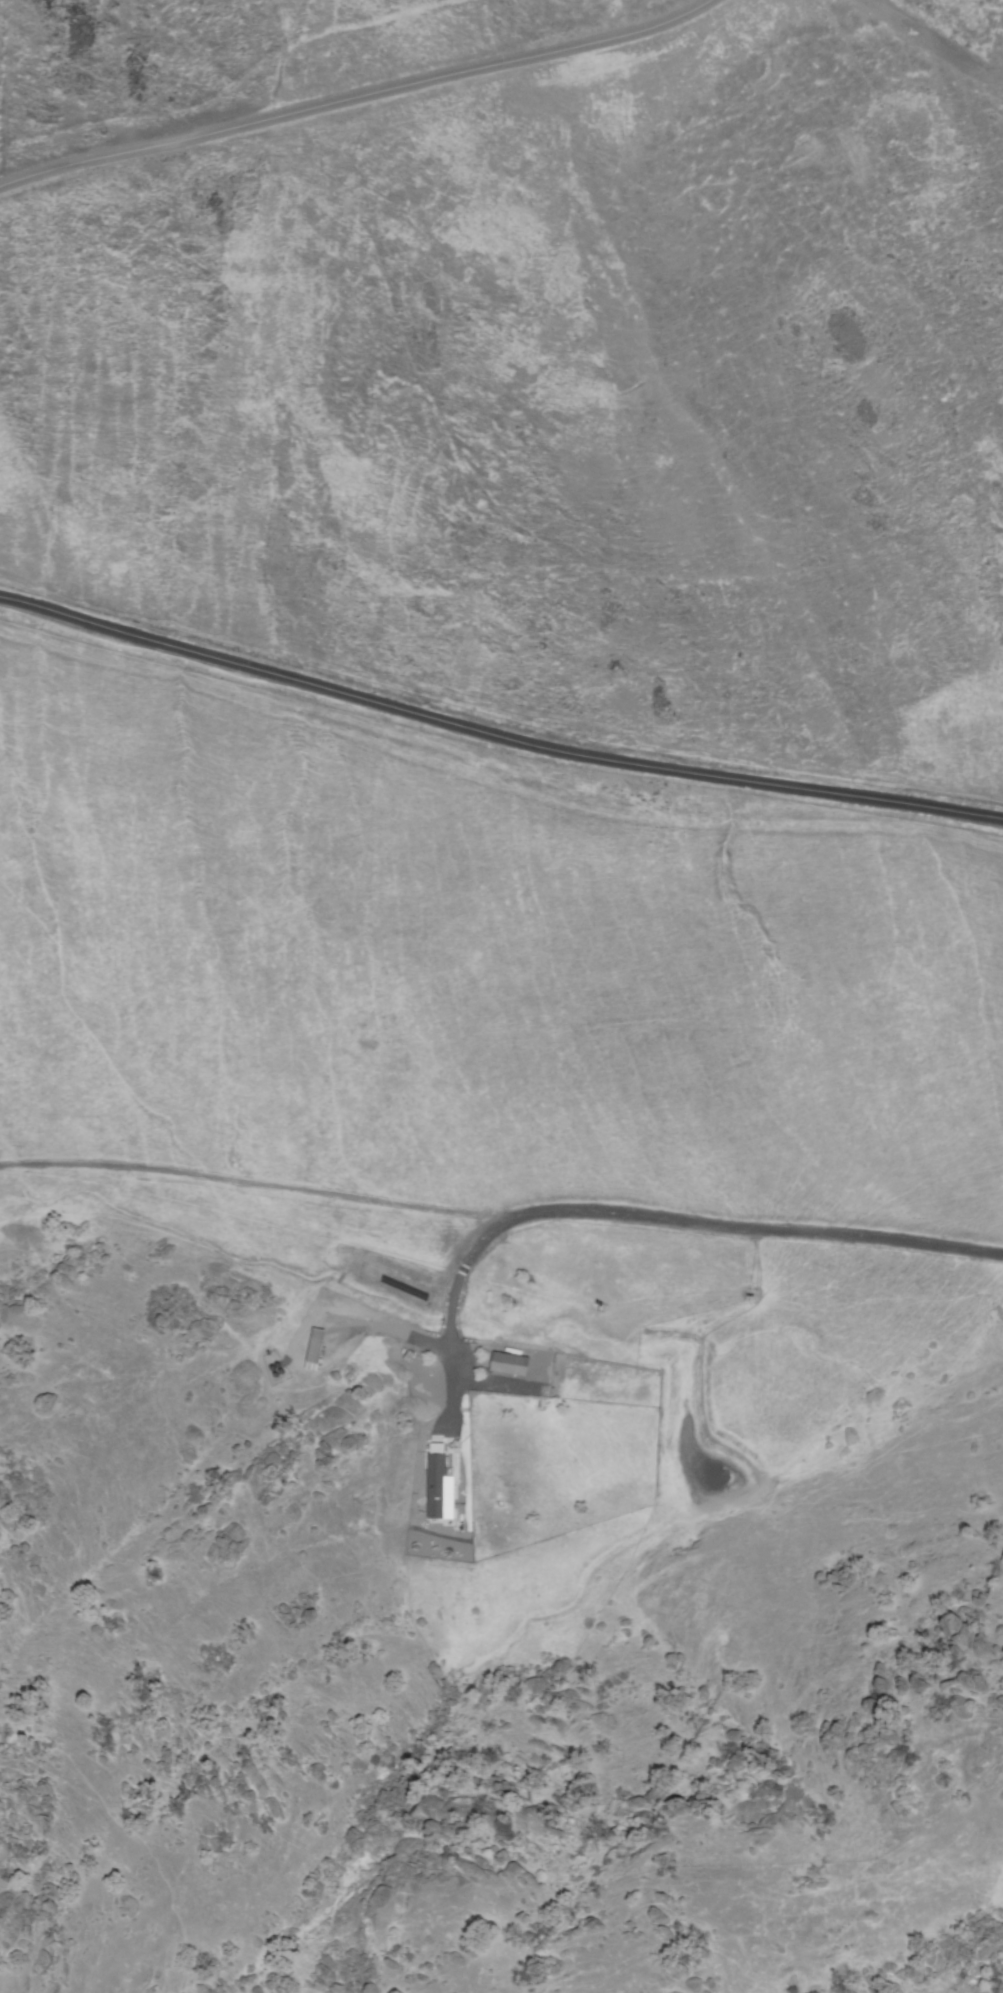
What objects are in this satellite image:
road: (357, 99)
road: (495, 734)
building: (508, 1363)
building: (439, 1488)

